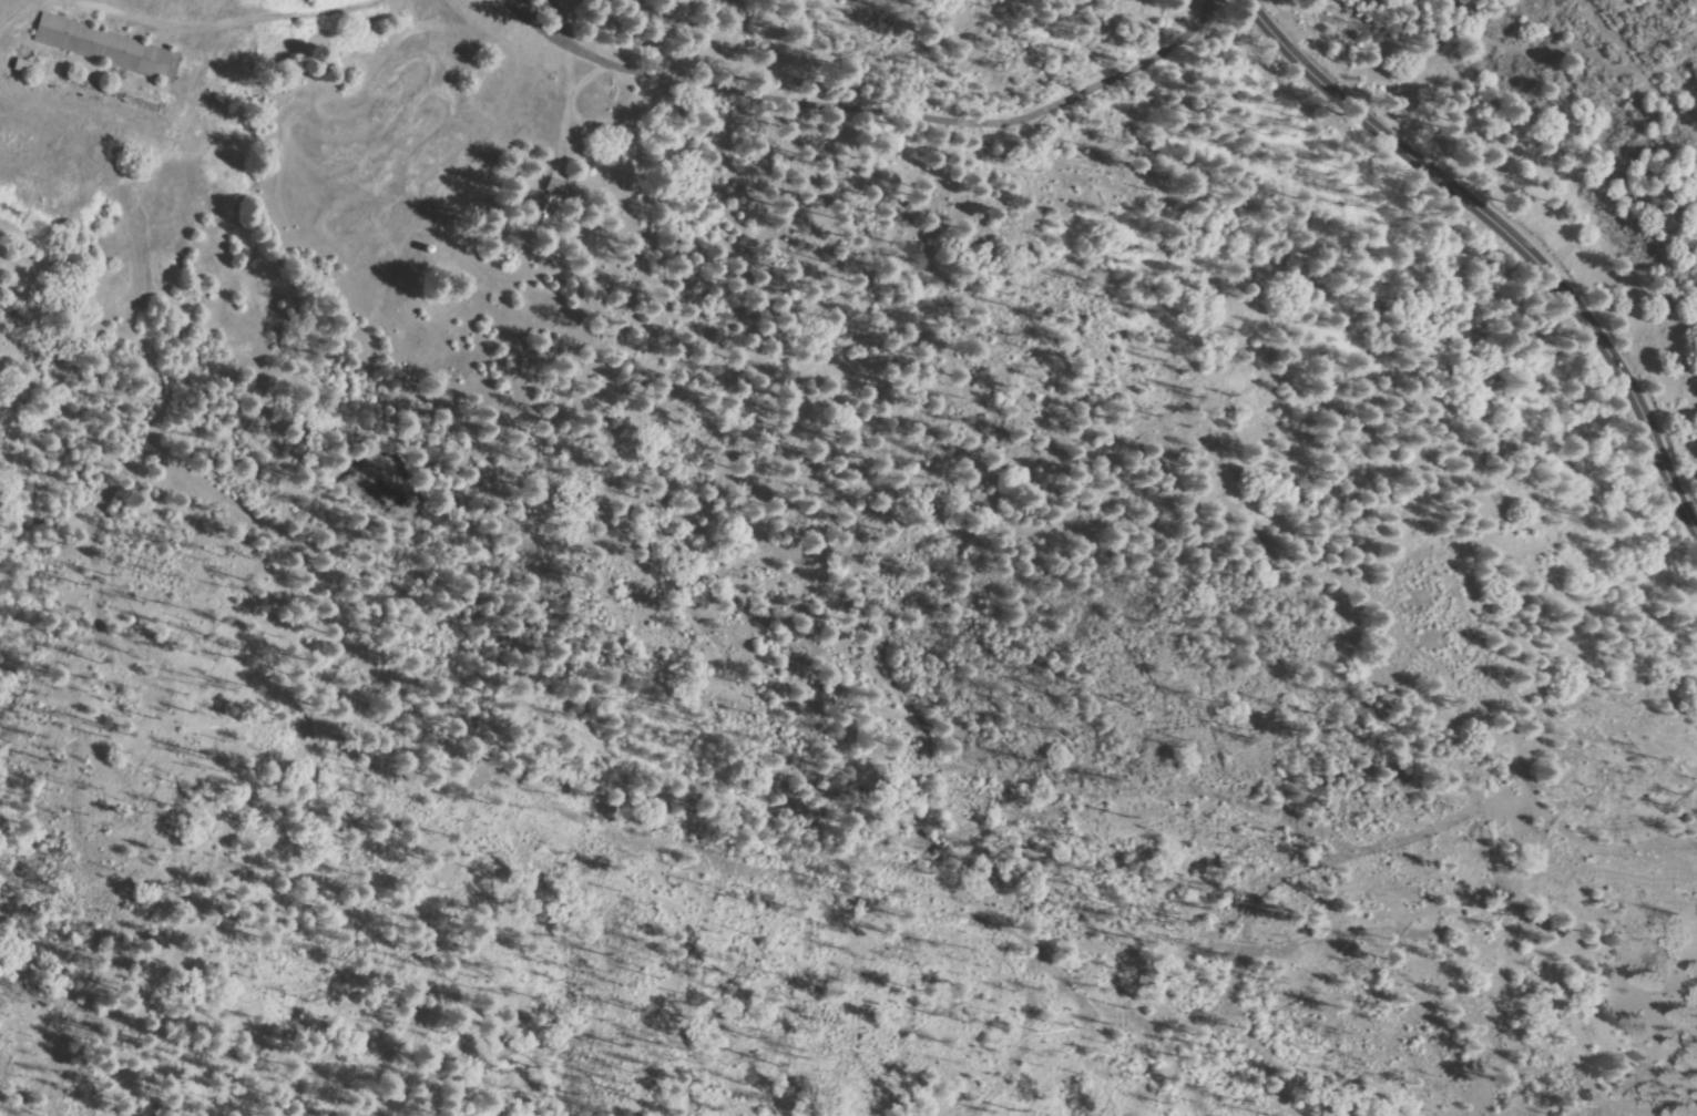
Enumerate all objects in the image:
road: (200, 29)
road: (934, 35)
building: (108, 47)
building: (31, 68)
building: (559, 186)
building: (545, 211)
road: (1506, 227)
storage tank: (430, 248)
road: (59, 351)
road: (551, 767)
road: (1580, 858)

